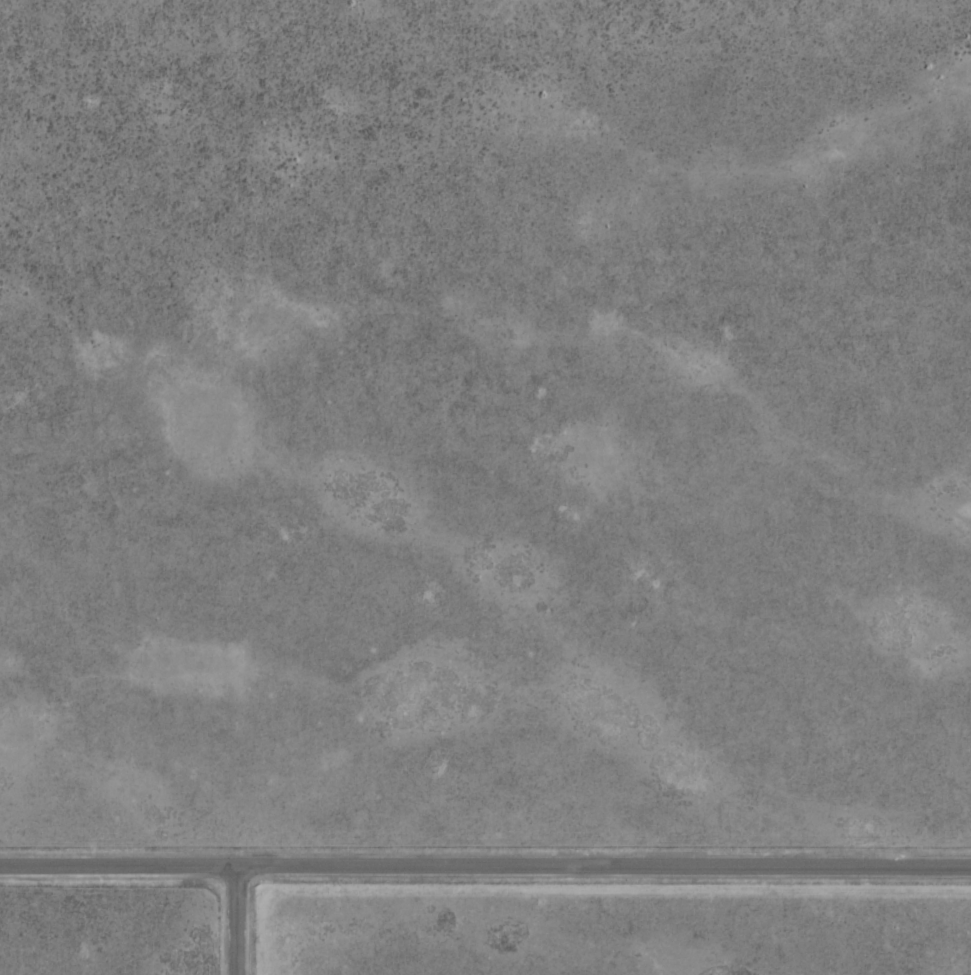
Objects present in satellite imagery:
road: (485, 878)
road: (240, 926)

